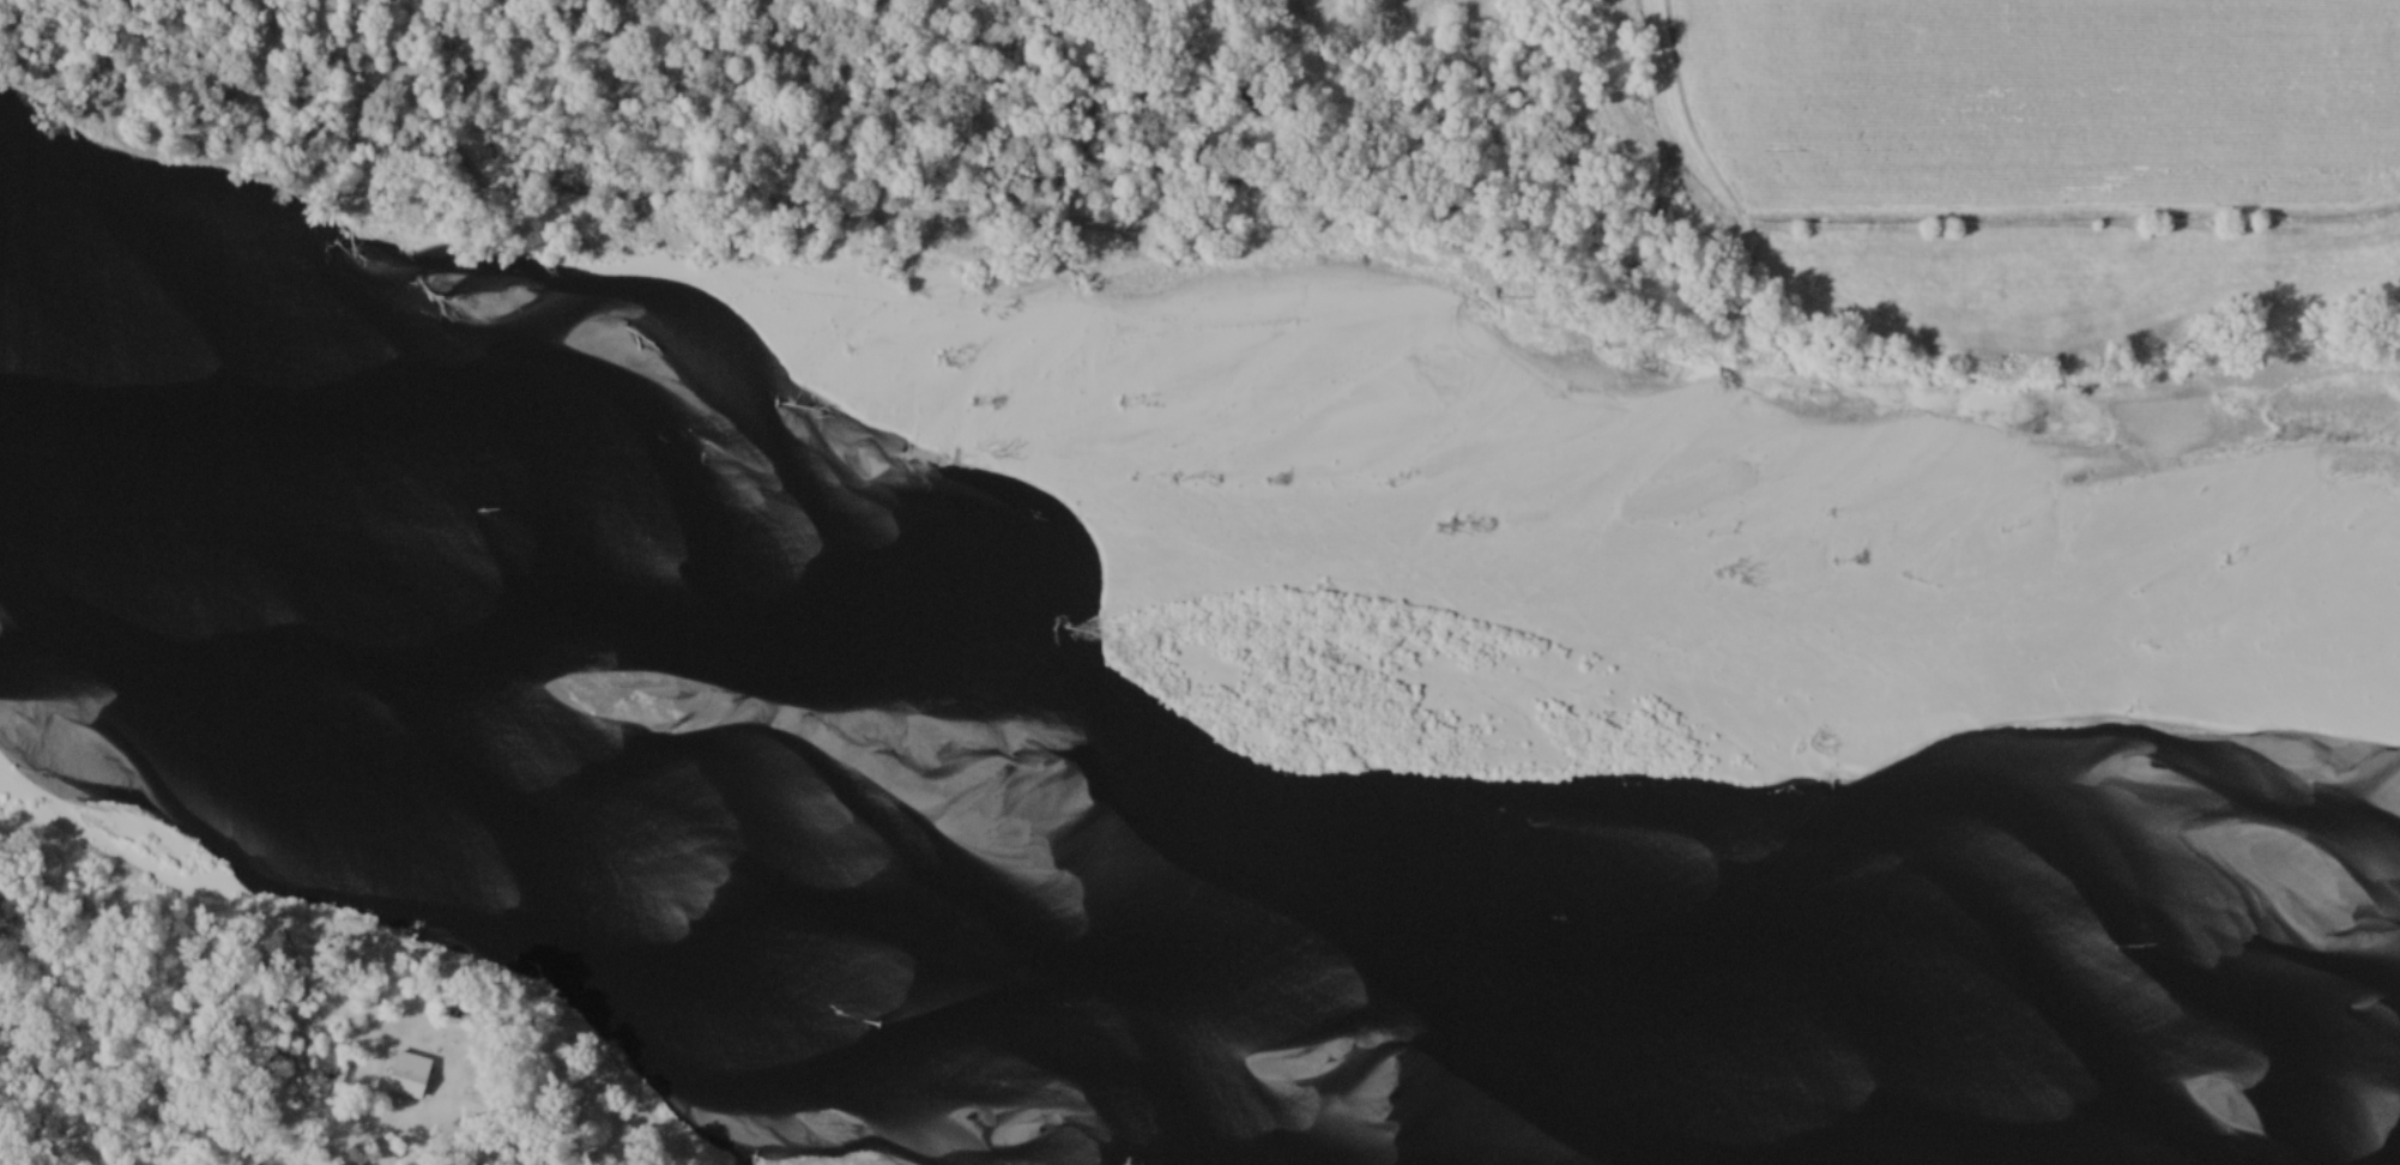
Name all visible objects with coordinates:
river: (1150, 905)
building: (405, 1081)
river: (715, 1133)

